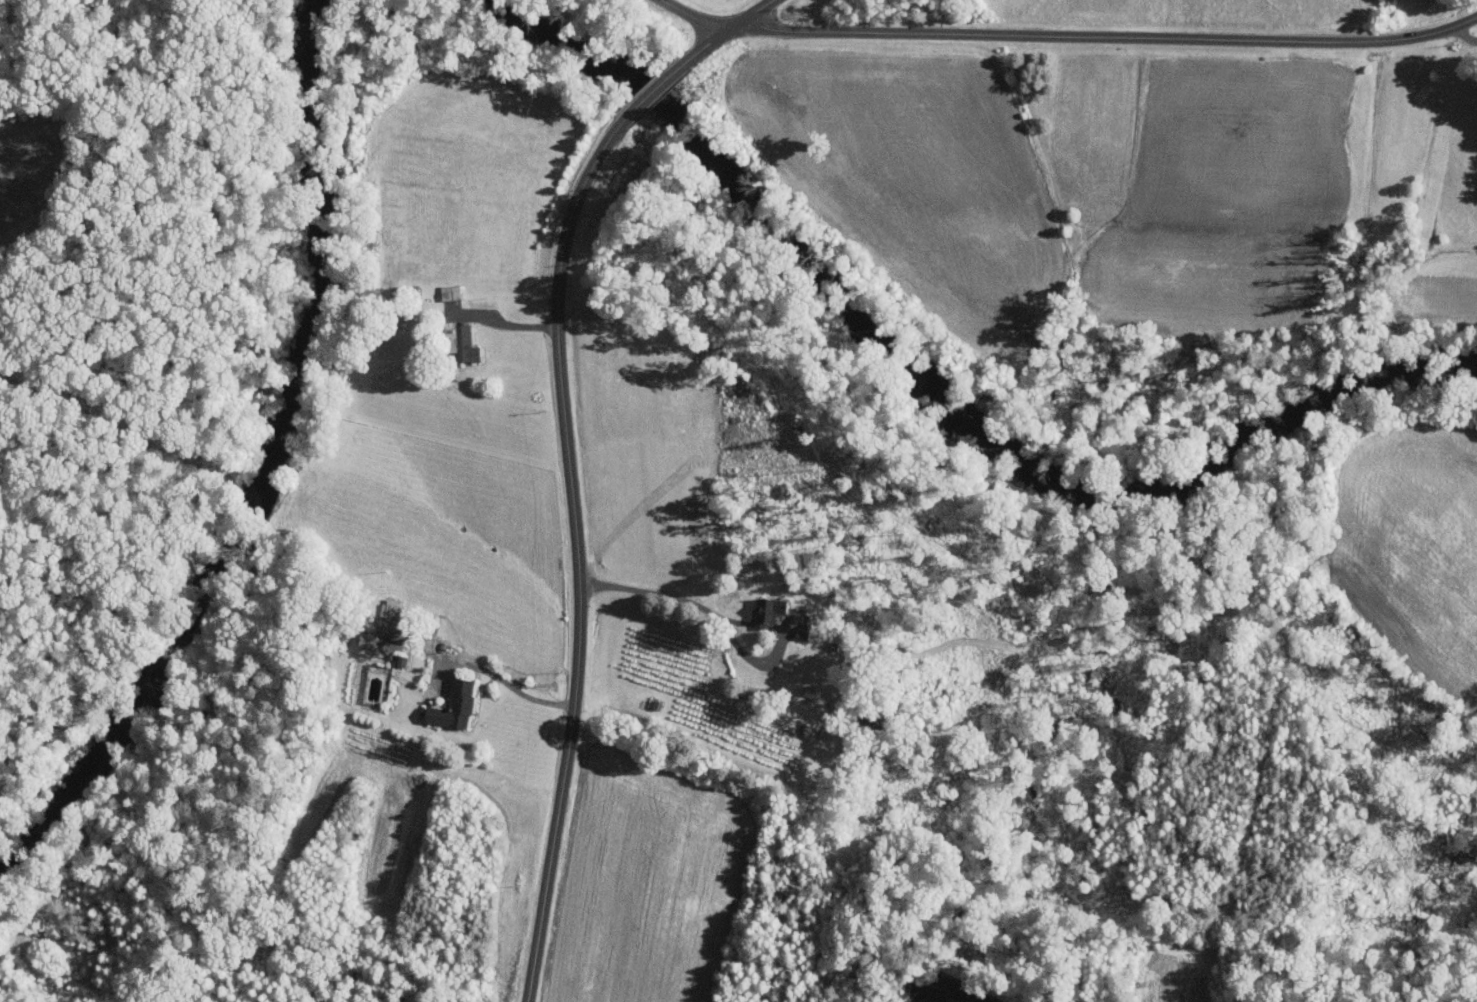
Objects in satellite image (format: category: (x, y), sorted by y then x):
road: (1068, 35)
road: (1465, 35)
road: (509, 322)
building: (461, 341)
road: (568, 456)
road: (664, 594)
building: (770, 608)
building: (367, 639)
road: (511, 686)
building: (454, 705)

